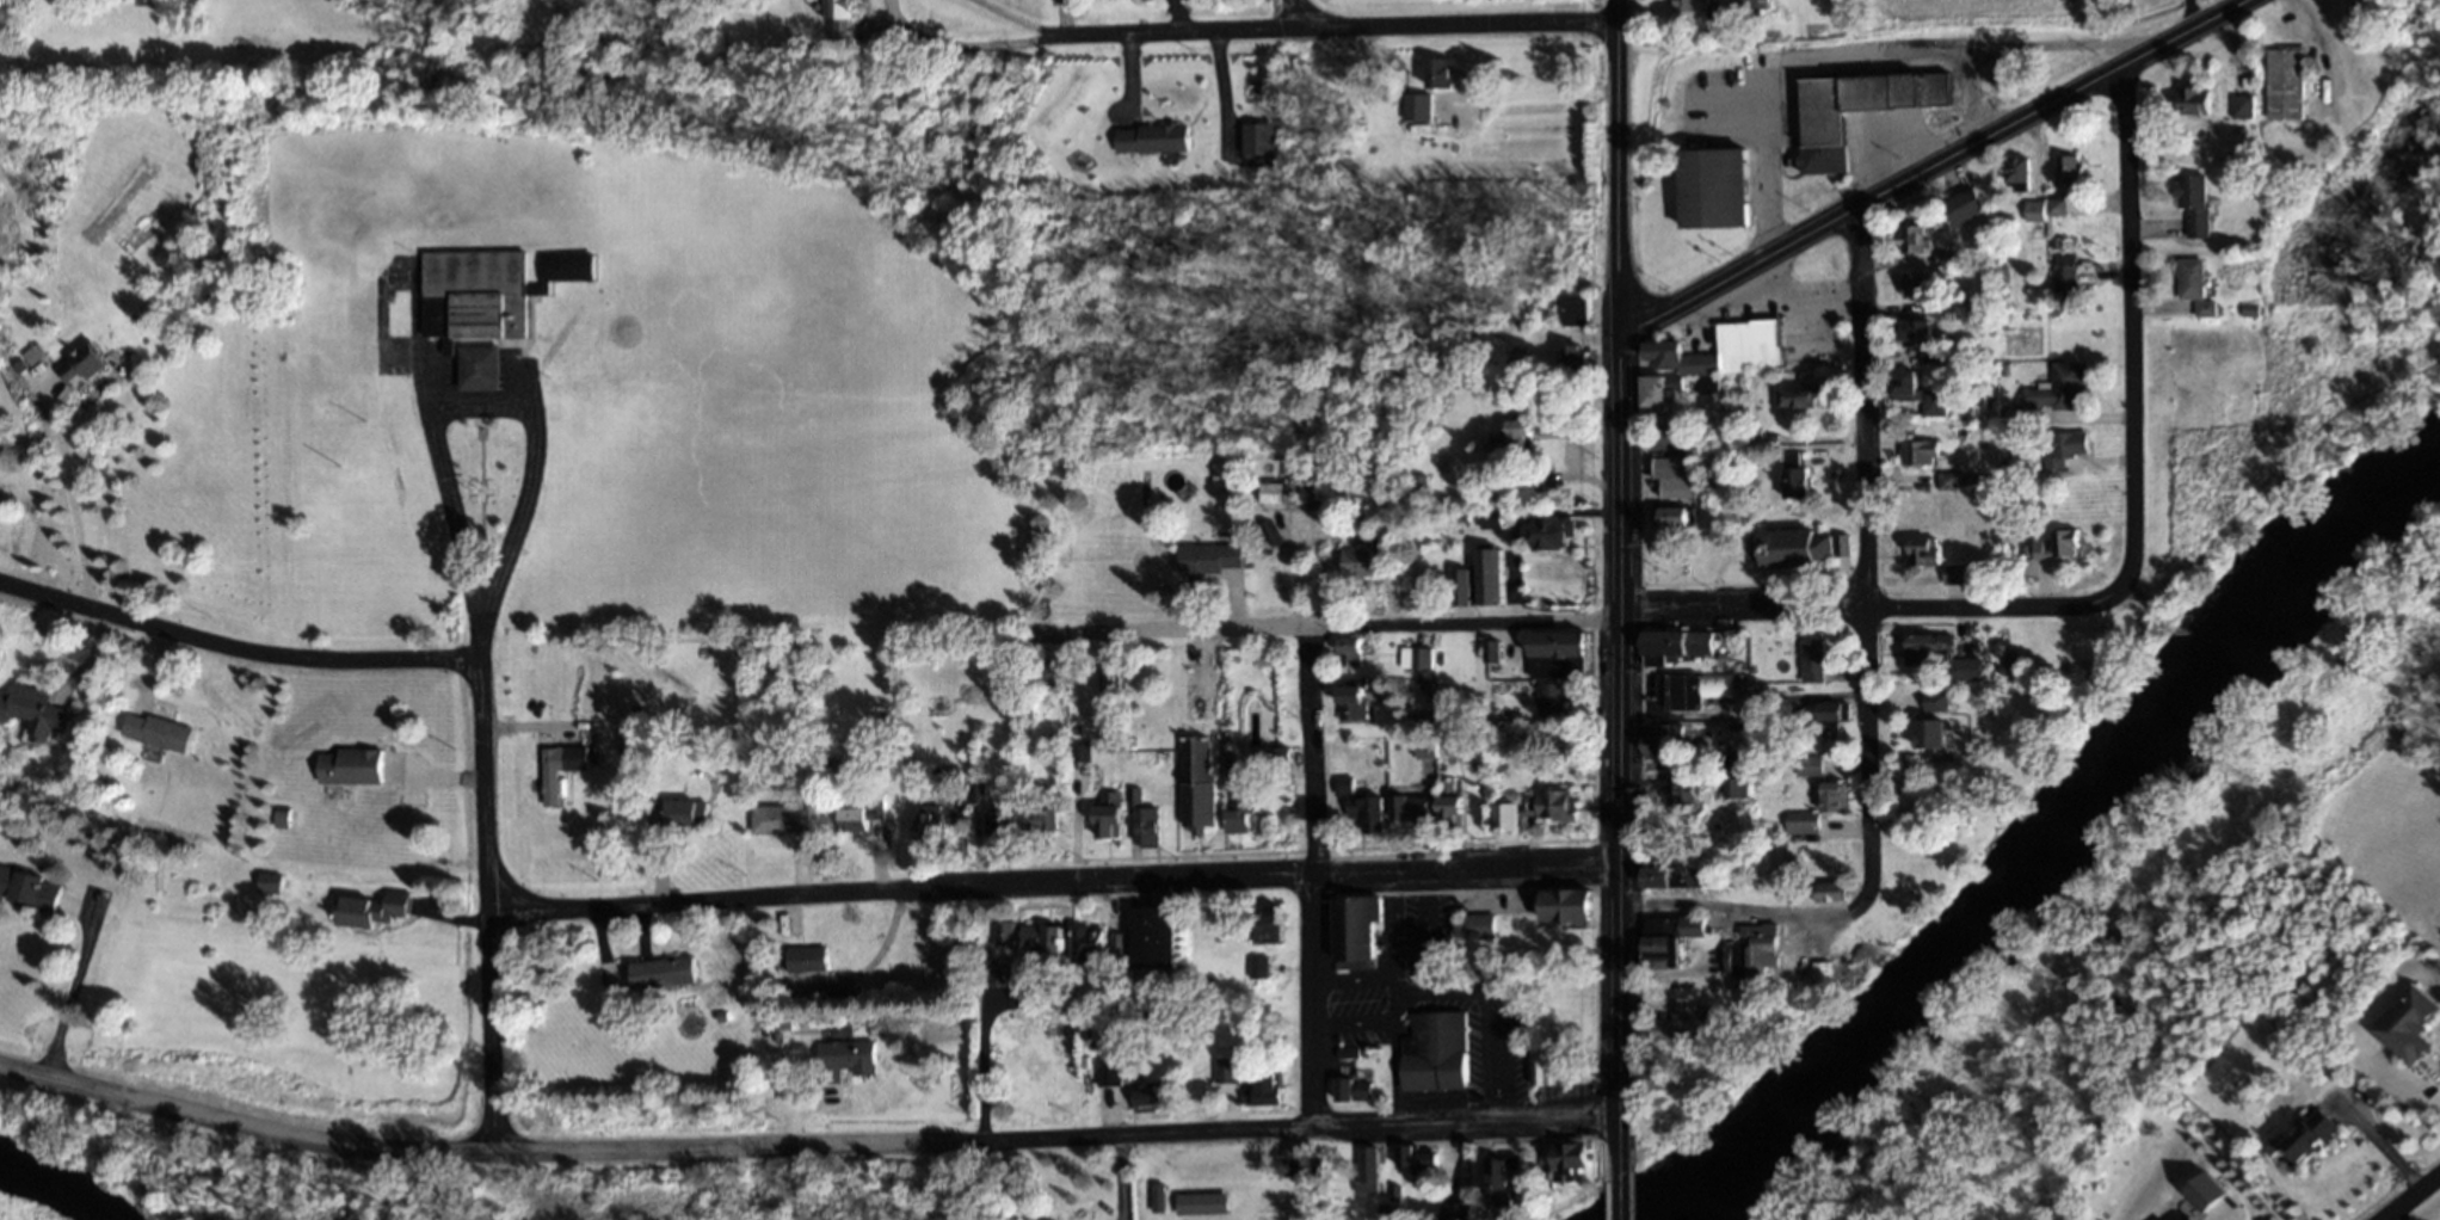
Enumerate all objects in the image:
building: (1749, 8)
building: (1694, 12)
road: (1288, 13)
building: (838, 19)
road: (1329, 26)
road: (988, 42)
road: (1883, 60)
building: (1436, 73)
building: (2282, 84)
road: (1973, 95)
building: (2192, 101)
building: (1411, 106)
building: (2238, 107)
building: (1855, 109)
building: (1148, 138)
building: (1255, 138)
road: (1947, 161)
building: (2066, 168)
building: (2016, 170)
building: (1713, 189)
building: (2053, 204)
building: (2192, 204)
building: (2031, 210)
building: (1910, 240)
building: (2060, 273)
building: (1911, 285)
building: (2193, 288)
building: (483, 304)
building: (1572, 308)
road: (2124, 334)
building: (1917, 338)
building: (1575, 358)
building: (1709, 359)
building: (79, 366)
building: (2053, 390)
building: (1915, 394)
road: (480, 398)
building: (1794, 398)
building: (1509, 438)
building: (1669, 439)
building: (2063, 448)
building: (1916, 454)
building: (1672, 476)
building: (1793, 476)
building: (1942, 481)
building: (1526, 482)
road: (74, 493)
building: (1288, 493)
building: (1668, 518)
building: (1487, 519)
building: (1549, 534)
building: (2054, 544)
building: (1803, 548)
building: (1921, 552)
building: (1363, 556)
road: (1874, 559)
building: (1206, 560)
building: (1952, 573)
building: (1487, 574)
building: (1460, 586)
road: (1629, 587)
road: (1872, 603)
road: (1324, 624)
building: (1670, 643)
road: (233, 647)
building: (1489, 649)
building: (1345, 651)
building: (1555, 653)
building: (1941, 657)
building: (1812, 658)
building: (1412, 659)
building: (1039, 671)
building: (1689, 689)
building: (1546, 697)
building: (1348, 701)
building: (1934, 702)
building: (31, 710)
building: (155, 729)
building: (1928, 732)
building: (1658, 741)
building: (1422, 747)
building: (1280, 753)
building: (347, 765)
building: (1806, 765)
building: (556, 766)
building: (830, 775)
building: (1195, 783)
building: (1730, 783)
building: (1680, 790)
building: (1829, 793)
building: (1545, 803)
building: (1358, 805)
building: (1446, 805)
building: (1405, 806)
building: (1236, 807)
building: (674, 812)
building: (1105, 813)
building: (858, 815)
building: (1502, 815)
building: (778, 819)
building: (1041, 820)
building: (1800, 822)
building: (999, 824)
building: (1144, 825)
building: (930, 827)
river: (2046, 849)
road: (1306, 876)
building: (1675, 876)
road: (481, 880)
road: (1050, 881)
building: (27, 888)
building: (1830, 889)
building: (1565, 904)
building: (366, 908)
road: (1740, 910)
building: (1262, 923)
building: (1474, 924)
building: (1351, 931)
building: (1002, 932)
building: (1152, 937)
building: (1036, 938)
building: (1666, 939)
building: (1085, 941)
building: (1114, 947)
building: (1749, 956)
building: (806, 959)
building: (1253, 967)
building: (1818, 968)
building: (661, 972)
building: (993, 974)
road: (73, 992)
building: (1680, 1024)
building: (2408, 1024)
building: (1434, 1052)
building: (842, 1059)
road: (975, 1065)
building: (1222, 1071)
building: (1536, 1071)
building: (1105, 1072)
building: (1655, 1079)
building: (1261, 1087)
building: (1350, 1087)
building: (1222, 1098)
building: (1150, 1099)
road: (1462, 1125)
building: (2309, 1134)
road: (647, 1145)
building: (1570, 1157)
building: (1416, 1160)
building: (1364, 1169)
building: (1497, 1182)
road: (2407, 1194)
building: (1154, 1197)
road: (1620, 1197)
building: (1199, 1203)
building: (1454, 1210)
building: (2187, 1218)

